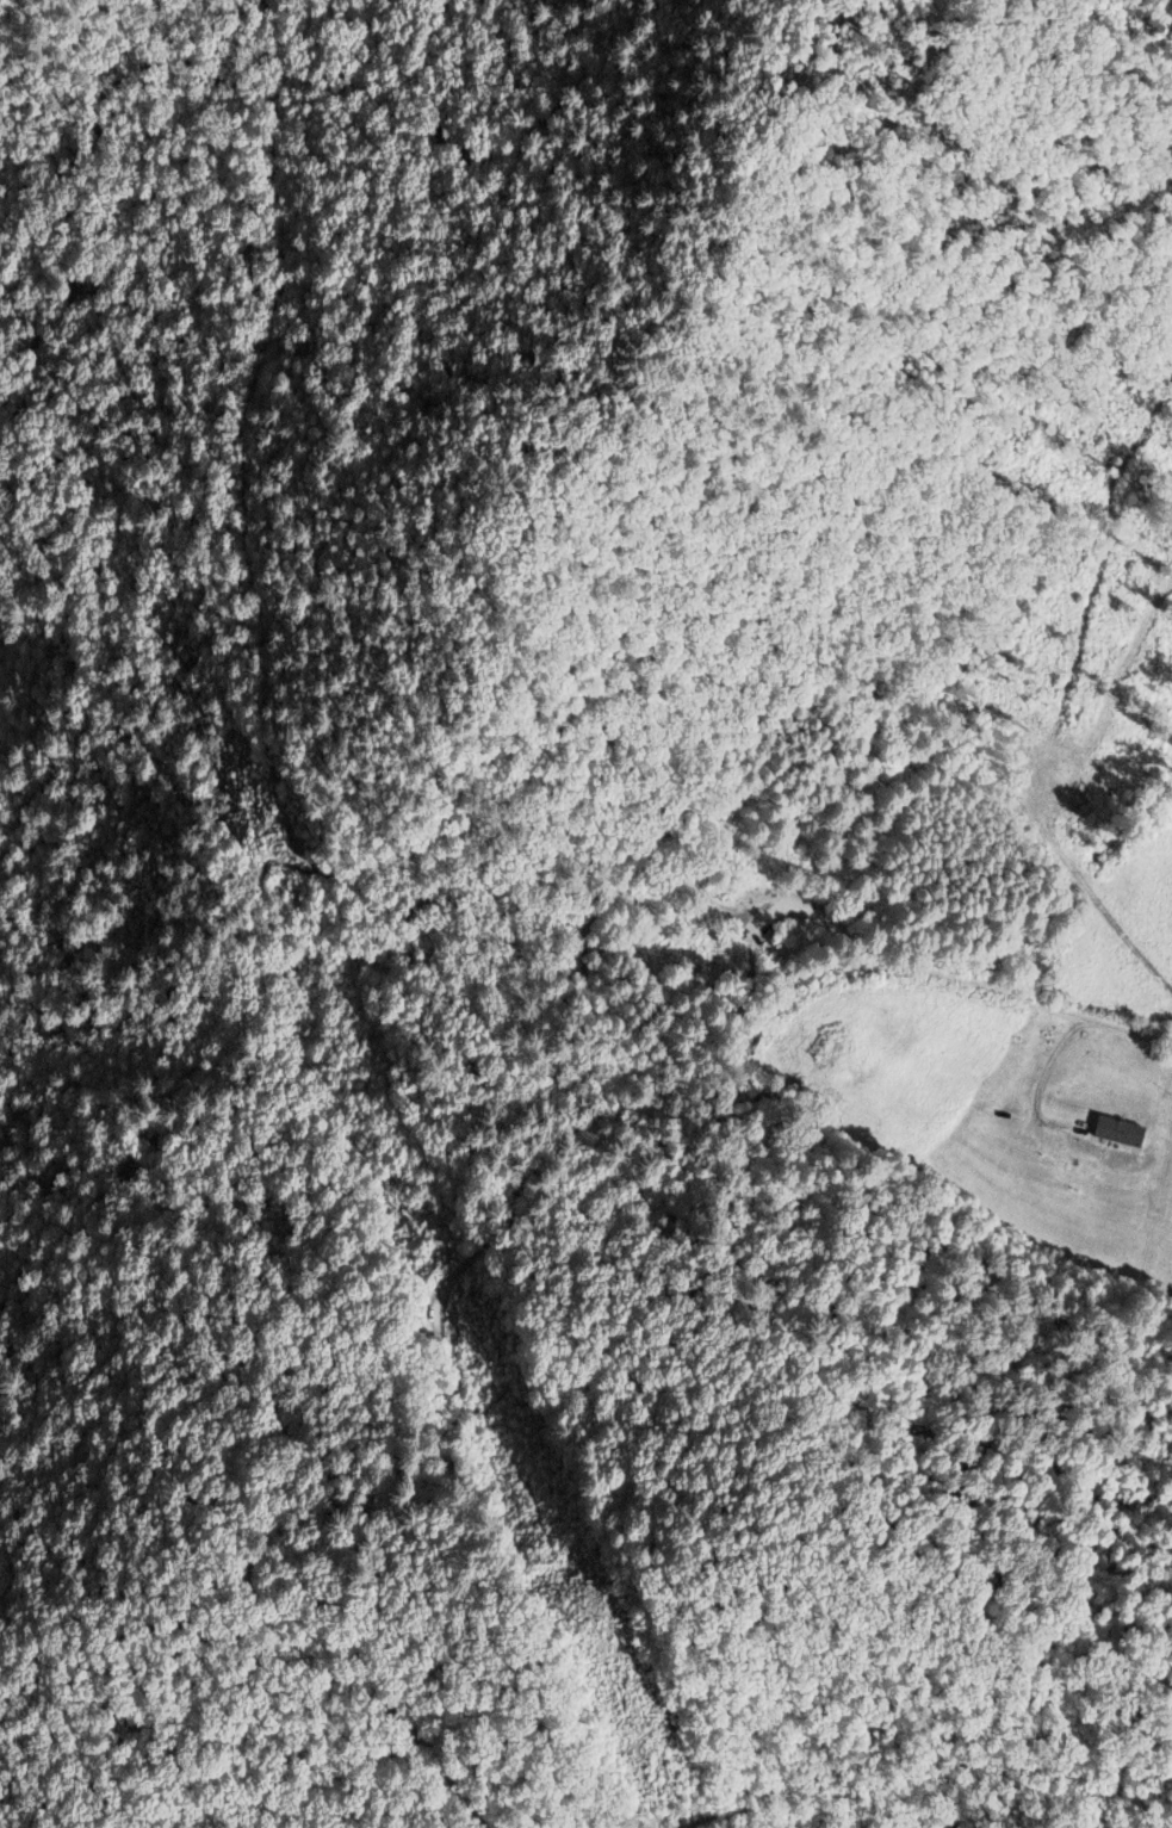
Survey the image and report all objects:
power tower: (250, 841)
road: (479, 1250)
power tower: (584, 1615)
road: (744, 1815)

